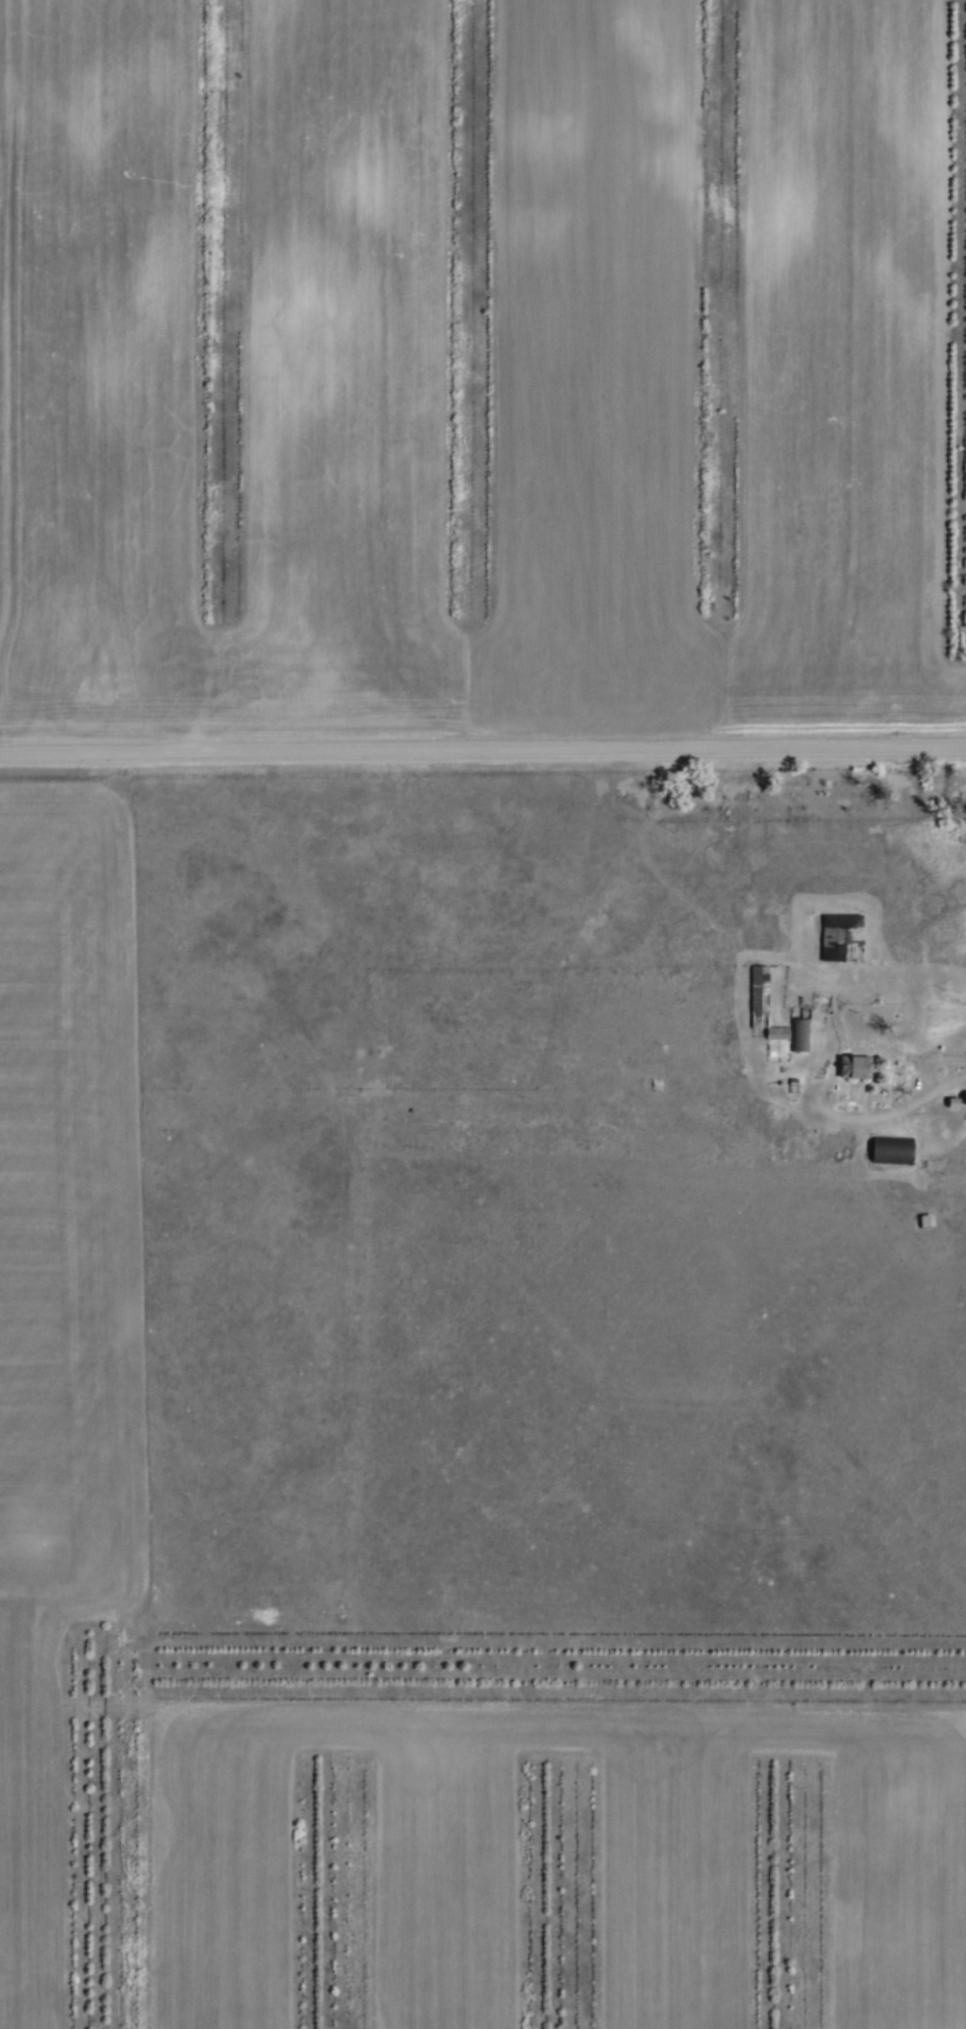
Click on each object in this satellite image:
road: (483, 750)
building: (842, 931)
building: (758, 991)
building: (778, 1024)
building: (799, 1029)
building: (854, 1064)
road: (819, 1084)
building: (963, 1094)
building: (890, 1142)

